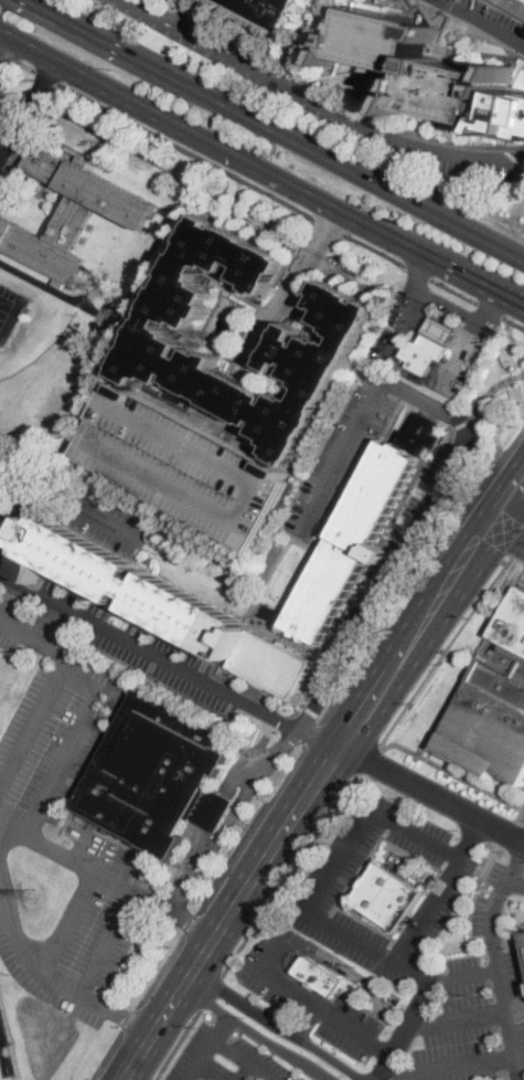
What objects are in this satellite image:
parking lot: (172, 1)
road: (156, 4)
road: (151, 7)
building: (271, 13)
parking lot: (489, 19)
road: (480, 22)
road: (8, 49)
road: (8, 55)
road: (24, 65)
building: (421, 65)
road: (45, 76)
road: (324, 97)
road: (314, 104)
road: (29, 108)
building: (510, 116)
road: (276, 130)
road: (186, 149)
parking lot: (452, 162)
road: (260, 167)
building: (69, 214)
road: (329, 224)
building: (274, 247)
road: (375, 248)
road: (423, 266)
road: (418, 272)
building: (360, 279)
road: (291, 290)
road: (453, 290)
road: (493, 305)
park: (4, 306)
road: (490, 308)
building: (25, 309)
road: (406, 316)
parking lot: (405, 318)
road: (443, 321)
road: (485, 321)
road: (482, 322)
road: (513, 322)
building: (442, 330)
road: (437, 335)
building: (157, 339)
road: (515, 343)
building: (426, 352)
parking lot: (464, 354)
road: (518, 375)
road: (506, 379)
road: (496, 384)
road: (478, 406)
parking lot: (340, 458)
building: (184, 464)
parking garage: (184, 464)
parking lot: (434, 486)
road: (74, 505)
parking lot: (0, 512)
road: (436, 522)
building: (359, 531)
road: (507, 534)
road: (518, 546)
road: (394, 565)
road: (420, 574)
road: (515, 574)
building: (163, 605)
building: (274, 612)
parking lot: (50, 621)
road: (447, 650)
parking lot: (149, 652)
road: (170, 659)
building: (493, 703)
road: (92, 705)
road: (33, 727)
road: (312, 733)
parking lot: (49, 744)
road: (370, 760)
building: (162, 773)
road: (459, 775)
road: (318, 777)
road: (431, 792)
road: (523, 807)
road: (254, 828)
road: (506, 833)
parking lot: (342, 862)
road: (483, 871)
road: (288, 873)
road: (106, 878)
road: (515, 881)
road: (441, 889)
power tower: (32, 892)
road: (501, 893)
building: (387, 896)
road: (517, 896)
road: (308, 908)
parking lot: (431, 913)
parking lot: (62, 915)
road: (69, 922)
road: (192, 922)
building: (523, 933)
road: (517, 935)
road: (108, 944)
road: (498, 963)
road: (162, 971)
road: (43, 972)
road: (352, 973)
building: (319, 975)
road: (212, 993)
parking lot: (307, 996)
road: (311, 1003)
road: (458, 1017)
parking lot: (0, 1018)
road: (130, 1018)
road: (307, 1021)
road: (277, 1024)
parking lot: (469, 1025)
road: (406, 1029)
road: (257, 1033)
road: (0, 1040)
road: (178, 1044)
road: (210, 1047)
road: (106, 1055)
parking lot: (225, 1057)
road: (244, 1059)
road: (449, 1068)
road: (244, 1071)
building: (250, 1078)

